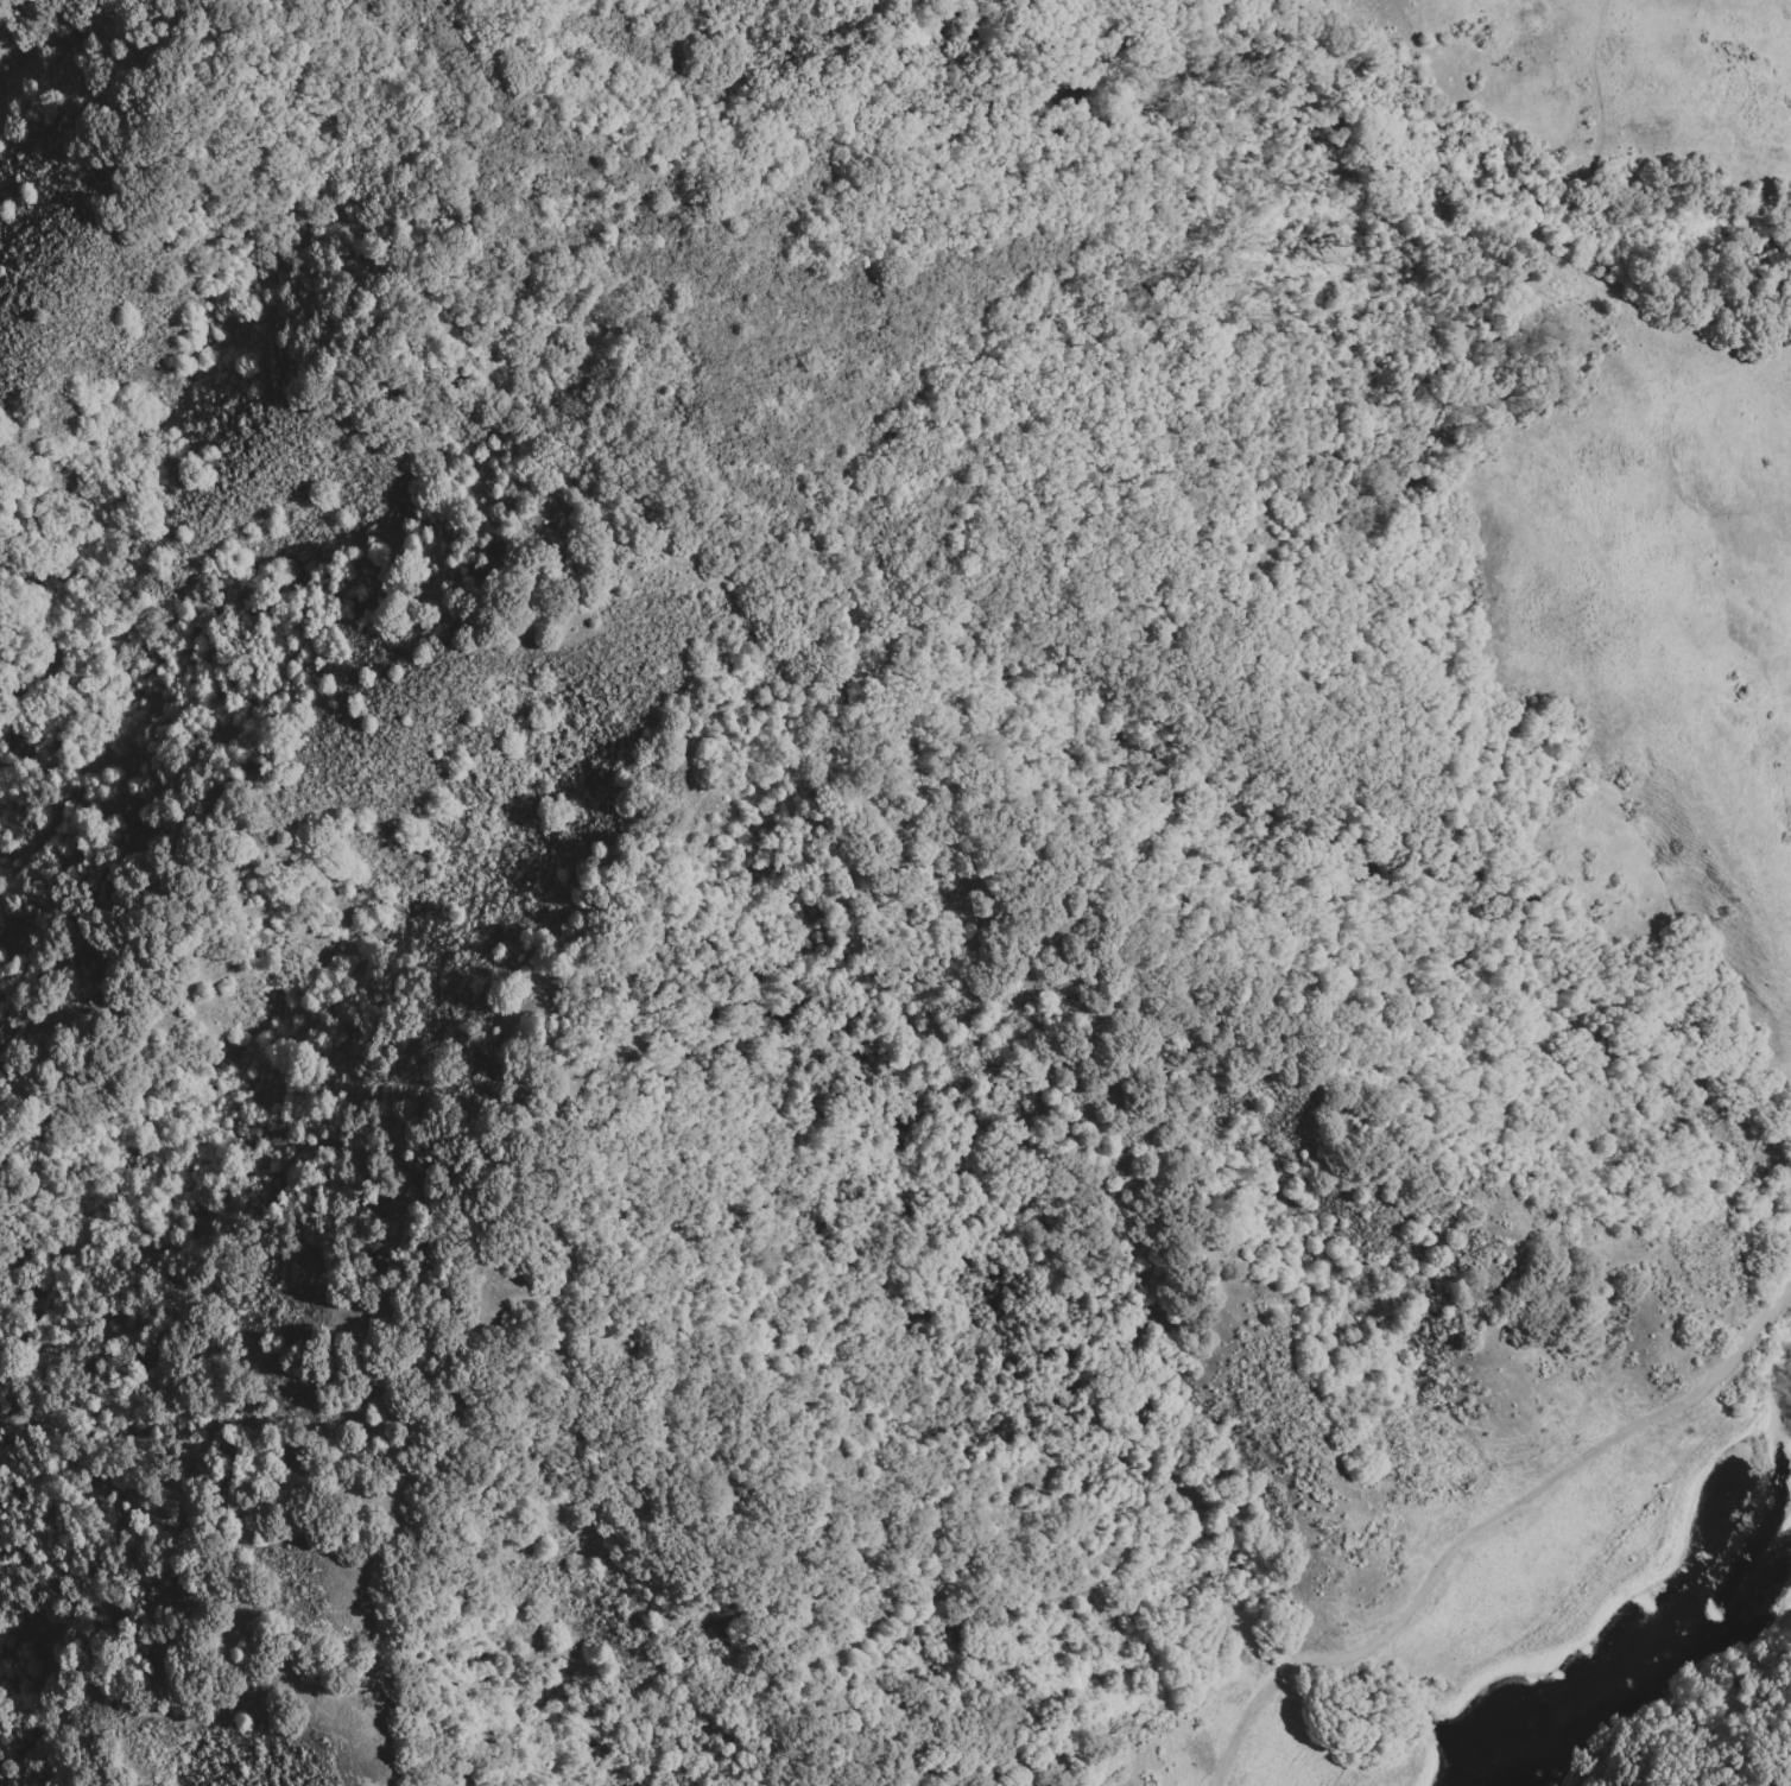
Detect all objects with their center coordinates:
road: (183, 4)
road: (1599, 188)
road: (1505, 1519)

